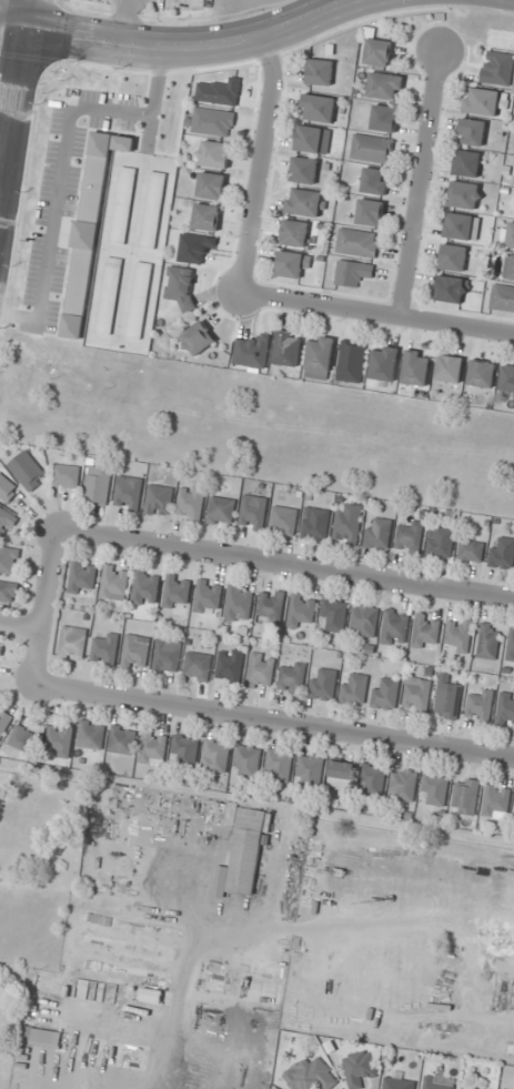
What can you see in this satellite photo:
road: (12, 14)
road: (6, 29)
traffic signals: (11, 30)
road: (189, 50)
building: (379, 52)
building: (321, 72)
building: (384, 85)
road: (12, 88)
building: (483, 101)
building: (318, 108)
building: (384, 118)
building: (212, 122)
building: (472, 132)
building: (313, 140)
building: (123, 143)
building: (372, 149)
building: (213, 154)
building: (467, 163)
road: (260, 165)
building: (304, 170)
building: (375, 181)
road: (419, 182)
building: (211, 185)
building: (465, 194)
building: (305, 202)
building: (123, 205)
building: (153, 209)
building: (370, 212)
building: (206, 216)
building: (460, 226)
building: (294, 232)
building: (511, 235)
building: (357, 243)
building: (453, 258)
building: (292, 263)
building: (508, 268)
building: (352, 272)
building: (451, 289)
building: (109, 295)
building: (502, 298)
building: (139, 300)
road: (377, 314)
building: (198, 339)
building: (288, 349)
building: (320, 357)
building: (351, 362)
building: (384, 363)
building: (416, 367)
building: (449, 369)
building: (482, 373)
building: (507, 381)
building: (27, 471)
building: (67, 475)
building: (98, 485)
building: (7, 488)
building: (128, 493)
building: (159, 500)
building: (191, 502)
building: (221, 511)
building: (253, 512)
building: (6, 516)
building: (284, 521)
building: (347, 523)
building: (315, 524)
building: (377, 533)
building: (410, 537)
building: (441, 543)
building: (472, 551)
building: (502, 553)
building: (9, 559)
road: (286, 568)
building: (82, 577)
building: (114, 583)
building: (144, 587)
building: (8, 592)
building: (175, 594)
building: (208, 595)
building: (239, 604)
building: (271, 605)
road: (46, 609)
building: (302, 611)
building: (334, 614)
building: (364, 619)
building: (395, 627)
road: (21, 629)
building: (426, 632)
building: (457, 635)
building: (488, 642)
building: (72, 644)
building: (511, 645)
building: (105, 649)
building: (0, 653)
building: (135, 653)
building: (168, 656)
building: (198, 666)
building: (230, 666)
building: (261, 672)
building: (292, 678)
building: (322, 685)
building: (353, 689)
building: (385, 693)
building: (416, 695)
building: (449, 699)
building: (480, 707)
building: (505, 712)
building: (3, 723)
road: (276, 723)
building: (92, 735)
building: (22, 738)
building: (122, 739)
building: (60, 740)
building: (153, 748)
building: (184, 749)
building: (215, 756)
building: (248, 759)
building: (280, 764)
building: (310, 769)
building: (341, 775)
building: (372, 779)
building: (403, 785)
building: (434, 789)
building: (464, 796)
building: (496, 800)
building: (193, 828)
building: (151, 996)
building: (41, 1037)
building: (361, 1067)
building: (310, 1075)
building: (396, 1081)
building: (437, 1083)
building: (464, 1088)
building: (513, 1088)

